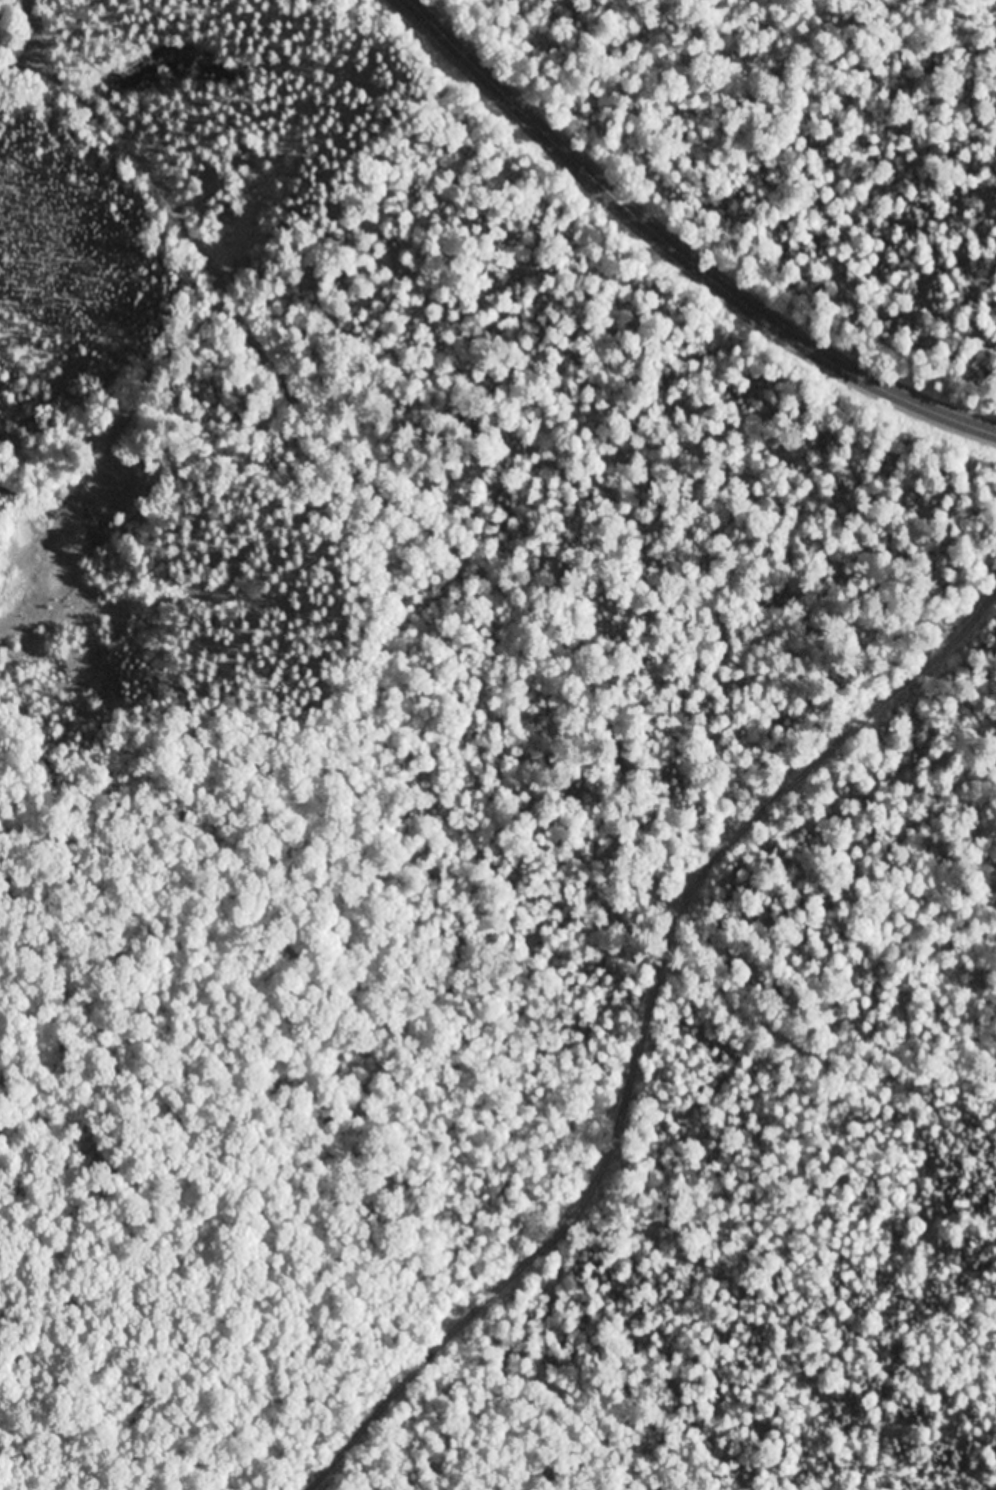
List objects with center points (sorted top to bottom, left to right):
road: (26, 61)
road: (685, 246)
road: (365, 460)
road: (649, 1037)
road: (818, 1040)

